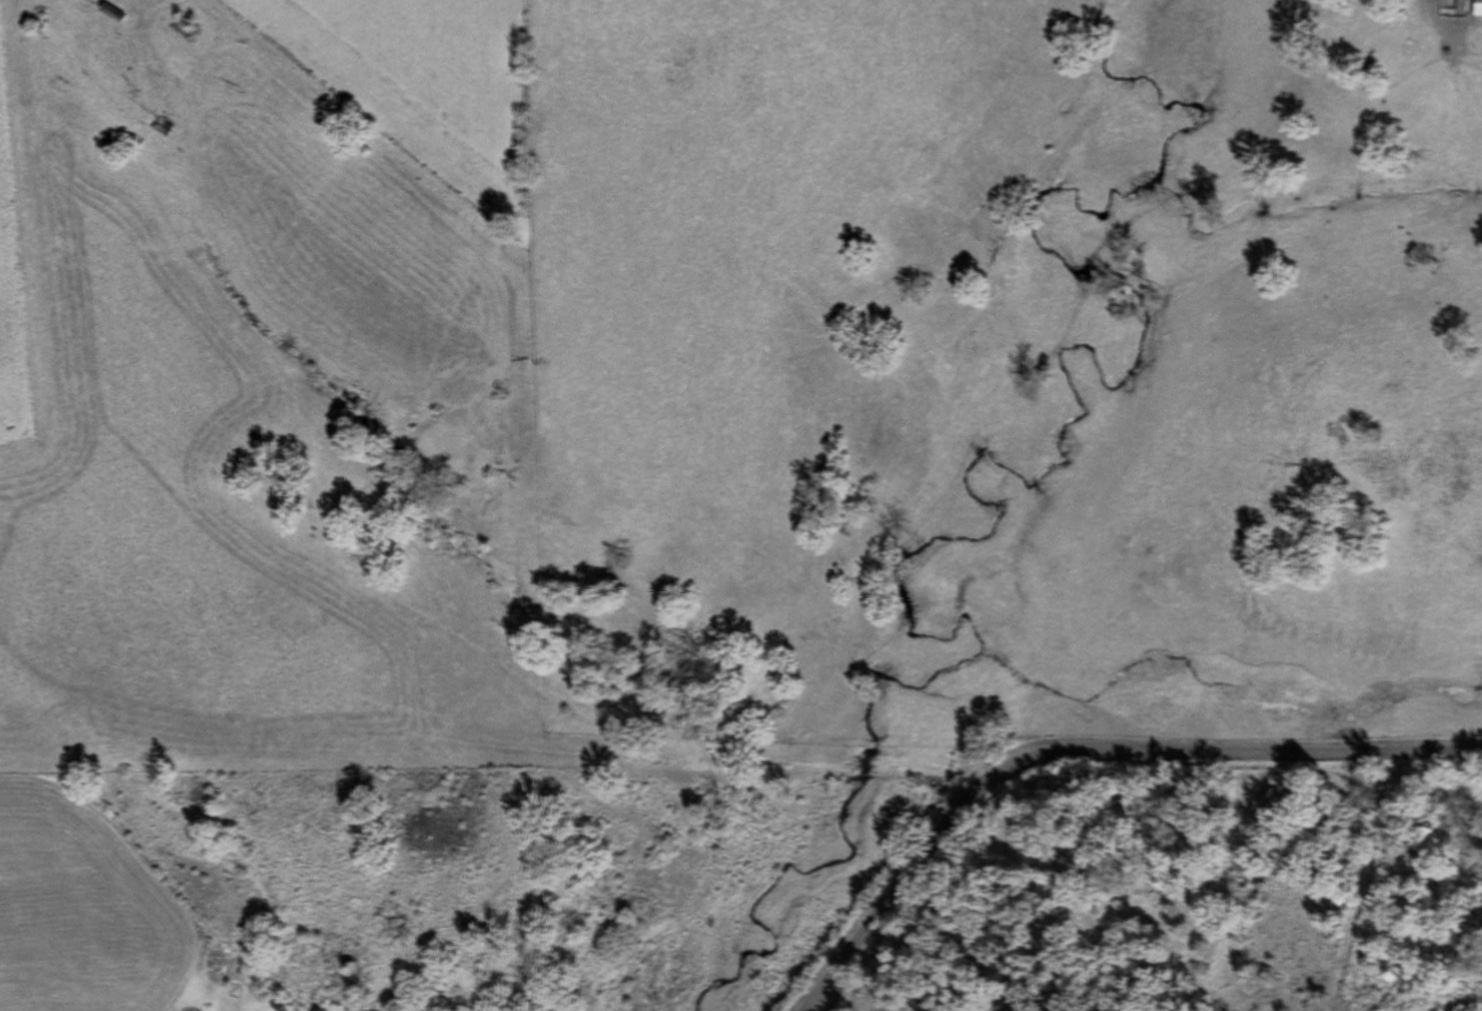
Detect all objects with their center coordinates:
building: (1477, 9)
road: (204, 29)
building: (160, 128)
road: (1082, 751)

